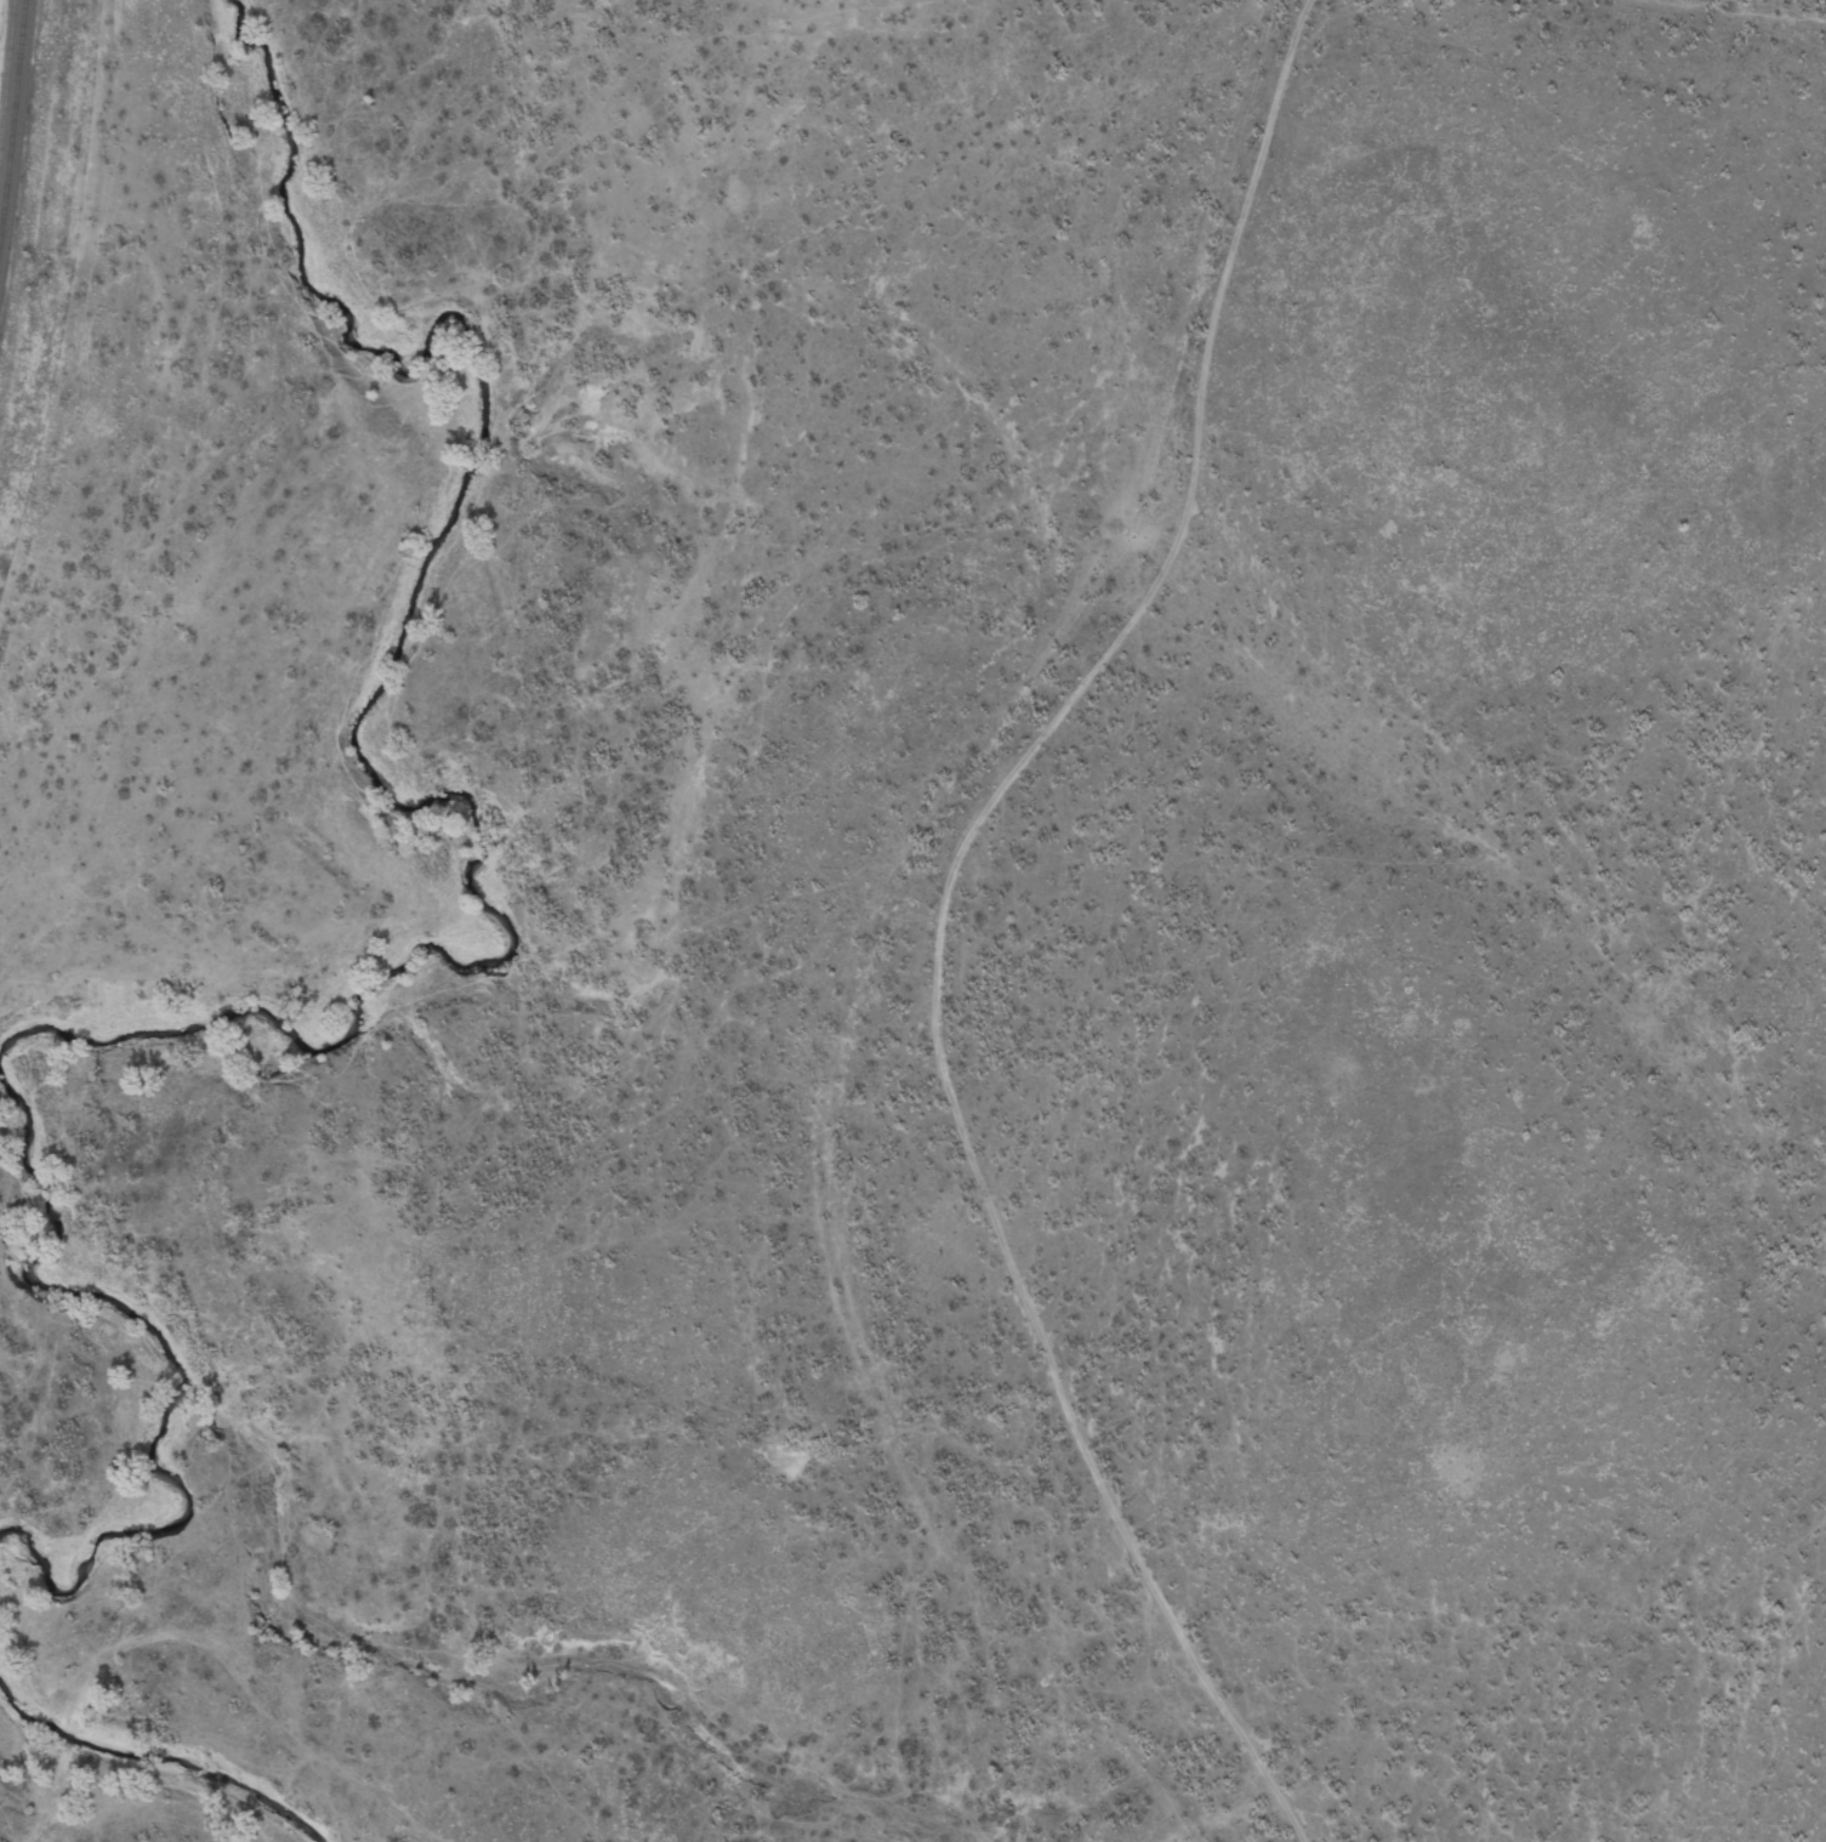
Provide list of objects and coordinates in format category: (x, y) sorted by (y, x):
railway: (5, 53)
railway: (12, 114)

